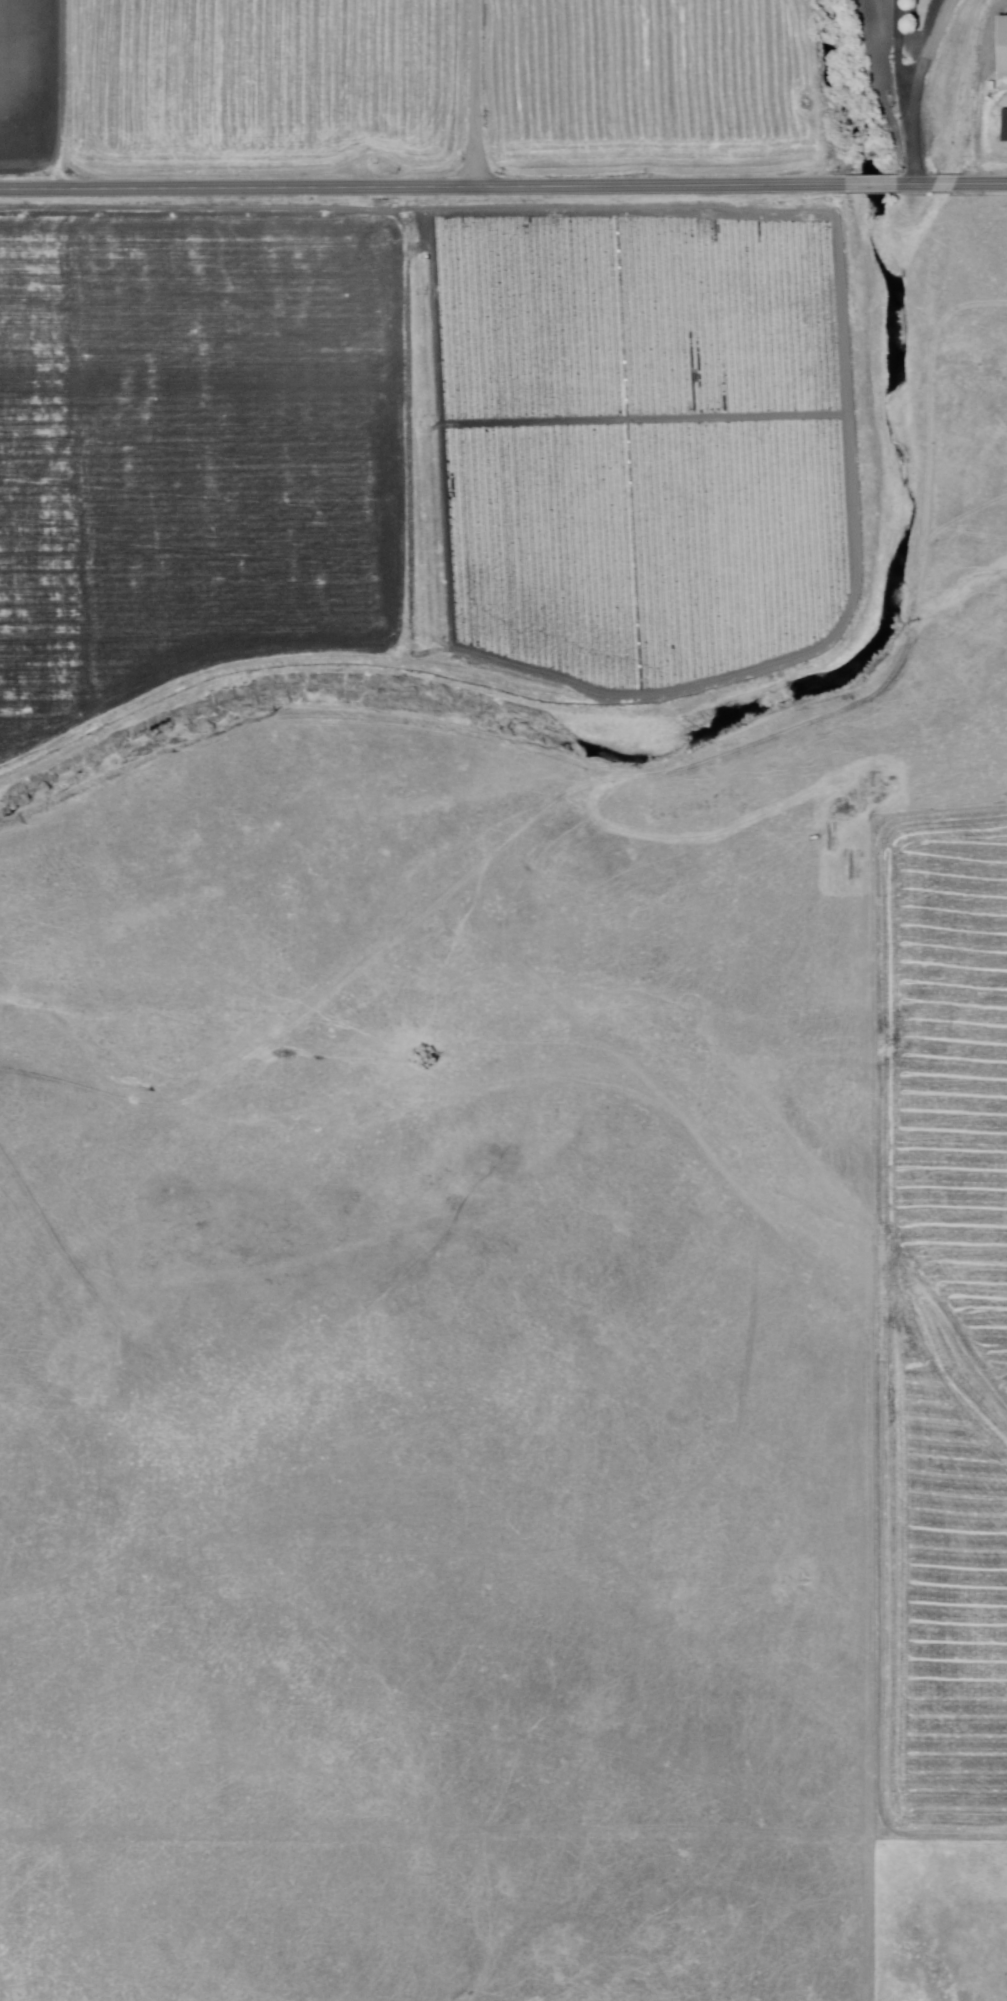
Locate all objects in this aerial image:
crop: (917, 19)
building: (1003, 47)
road: (924, 62)
crop: (262, 81)
crop: (30, 83)
crop: (648, 86)
road: (904, 92)
road: (475, 94)
building: (1005, 127)
road: (882, 185)
road: (953, 185)
road: (432, 188)
crop: (415, 442)
crop: (941, 1327)

